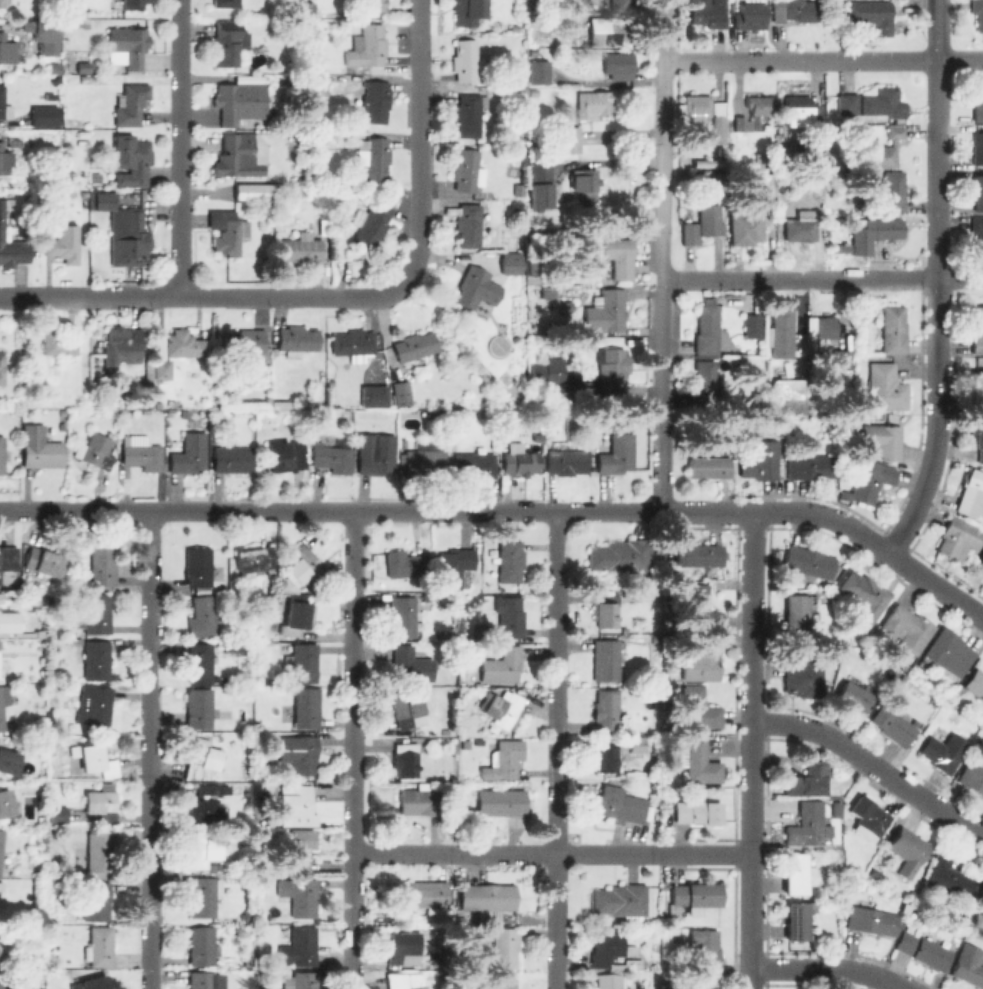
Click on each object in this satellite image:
building: (2, 3)
building: (225, 3)
building: (133, 4)
building: (621, 4)
building: (376, 5)
building: (307, 7)
building: (794, 10)
building: (468, 11)
building: (708, 12)
building: (978, 13)
building: (869, 14)
building: (750, 18)
building: (608, 29)
building: (45, 31)
building: (226, 44)
building: (367, 46)
building: (127, 47)
building: (6, 48)
road: (822, 58)
building: (465, 59)
building: (619, 64)
building: (82, 68)
building: (539, 73)
building: (521, 81)
building: (522, 92)
building: (240, 101)
building: (377, 101)
building: (758, 103)
building: (978, 103)
building: (130, 104)
building: (594, 104)
building: (872, 104)
building: (4, 105)
building: (696, 105)
building: (801, 111)
building: (468, 114)
building: (45, 117)
building: (739, 122)
building: (718, 132)
building: (300, 134)
building: (569, 138)
road: (936, 138)
road: (419, 140)
building: (977, 147)
road: (179, 148)
building: (881, 149)
building: (240, 156)
building: (371, 157)
building: (5, 159)
building: (130, 160)
building: (825, 163)
building: (468, 170)
building: (95, 177)
building: (540, 184)
building: (587, 186)
building: (767, 186)
building: (519, 188)
building: (893, 190)
building: (253, 191)
building: (978, 192)
building: (52, 199)
building: (101, 199)
building: (517, 206)
building: (711, 218)
building: (372, 219)
building: (470, 225)
building: (802, 225)
building: (747, 226)
building: (978, 230)
building: (227, 232)
building: (874, 232)
building: (689, 234)
building: (131, 238)
building: (64, 244)
building: (10, 246)
building: (301, 248)
road: (661, 255)
building: (618, 256)
building: (510, 264)
building: (534, 268)
road: (821, 277)
building: (543, 278)
building: (476, 290)
building: (548, 294)
road: (205, 295)
building: (607, 313)
building: (753, 328)
building: (977, 328)
building: (707, 329)
building: (892, 329)
building: (824, 330)
building: (781, 336)
building: (123, 341)
building: (298, 341)
building: (246, 343)
building: (354, 343)
building: (59, 344)
building: (184, 345)
building: (415, 347)
building: (841, 358)
building: (2, 369)
building: (164, 370)
building: (609, 372)
building: (521, 374)
building: (553, 376)
building: (707, 384)
building: (758, 388)
building: (886, 388)
building: (85, 390)
building: (787, 390)
building: (977, 390)
building: (400, 393)
building: (374, 396)
building: (756, 401)
building: (149, 404)
building: (282, 404)
building: (185, 414)
road: (937, 421)
building: (539, 438)
building: (978, 438)
building: (881, 442)
building: (40, 449)
building: (97, 452)
building: (142, 453)
building: (191, 454)
building: (377, 454)
building: (3, 455)
building: (618, 455)
building: (286, 456)
building: (232, 458)
building: (333, 459)
building: (759, 460)
building: (426, 463)
building: (521, 463)
building: (567, 464)
building: (809, 465)
building: (475, 466)
building: (709, 467)
building: (870, 481)
building: (971, 494)
road: (329, 510)
road: (705, 510)
building: (958, 537)
road: (874, 545)
building: (698, 555)
building: (622, 557)
building: (9, 560)
building: (255, 560)
building: (511, 561)
building: (45, 563)
building: (809, 564)
building: (306, 565)
building: (405, 565)
building: (104, 566)
building: (455, 567)
building: (199, 568)
building: (865, 596)
building: (1, 598)
building: (700, 609)
building: (98, 614)
building: (607, 615)
building: (202, 617)
building: (403, 617)
building: (511, 617)
building: (295, 620)
building: (796, 620)
building: (10, 622)
building: (907, 629)
building: (948, 653)
building: (98, 659)
building: (606, 660)
building: (702, 660)
building: (201, 663)
building: (302, 663)
building: (412, 665)
building: (503, 666)
building: (804, 679)
building: (975, 684)
building: (853, 696)
building: (4, 701)
building: (96, 708)
building: (200, 708)
building: (307, 708)
building: (698, 708)
building: (504, 709)
building: (607, 709)
building: (409, 711)
building: (893, 726)
building: (636, 744)
road: (149, 749)
road: (354, 749)
road: (555, 749)
road: (750, 750)
building: (943, 752)
building: (608, 754)
building: (299, 755)
building: (204, 757)
building: (407, 759)
building: (503, 759)
building: (9, 761)
building: (98, 761)
building: (697, 761)
road: (871, 764)
building: (973, 776)
building: (807, 780)
building: (214, 789)
building: (418, 801)
building: (500, 801)
building: (6, 803)
building: (103, 803)
building: (297, 803)
building: (617, 805)
building: (206, 812)
building: (699, 812)
building: (60, 815)
building: (869, 815)
building: (806, 824)
building: (0, 829)
building: (300, 848)
building: (204, 850)
building: (906, 851)
building: (100, 852)
road: (506, 852)
road: (704, 853)
building: (5, 857)
building: (794, 873)
building: (946, 876)
building: (981, 889)
building: (203, 894)
building: (298, 896)
building: (428, 896)
building: (696, 896)
building: (1, 900)
building: (97, 901)
building: (488, 901)
building: (621, 901)
building: (977, 918)
building: (797, 919)
building: (873, 921)
building: (202, 946)
building: (100, 947)
building: (301, 947)
building: (406, 947)
building: (506, 948)
building: (610, 948)
building: (922, 950)
building: (705, 952)
building: (8, 954)
building: (969, 965)
road: (828, 967)
building: (616, 975)
building: (406, 980)
building: (204, 981)
building: (303, 981)
building: (503, 983)
building: (90, 984)
building: (694, 986)
building: (6, 987)

